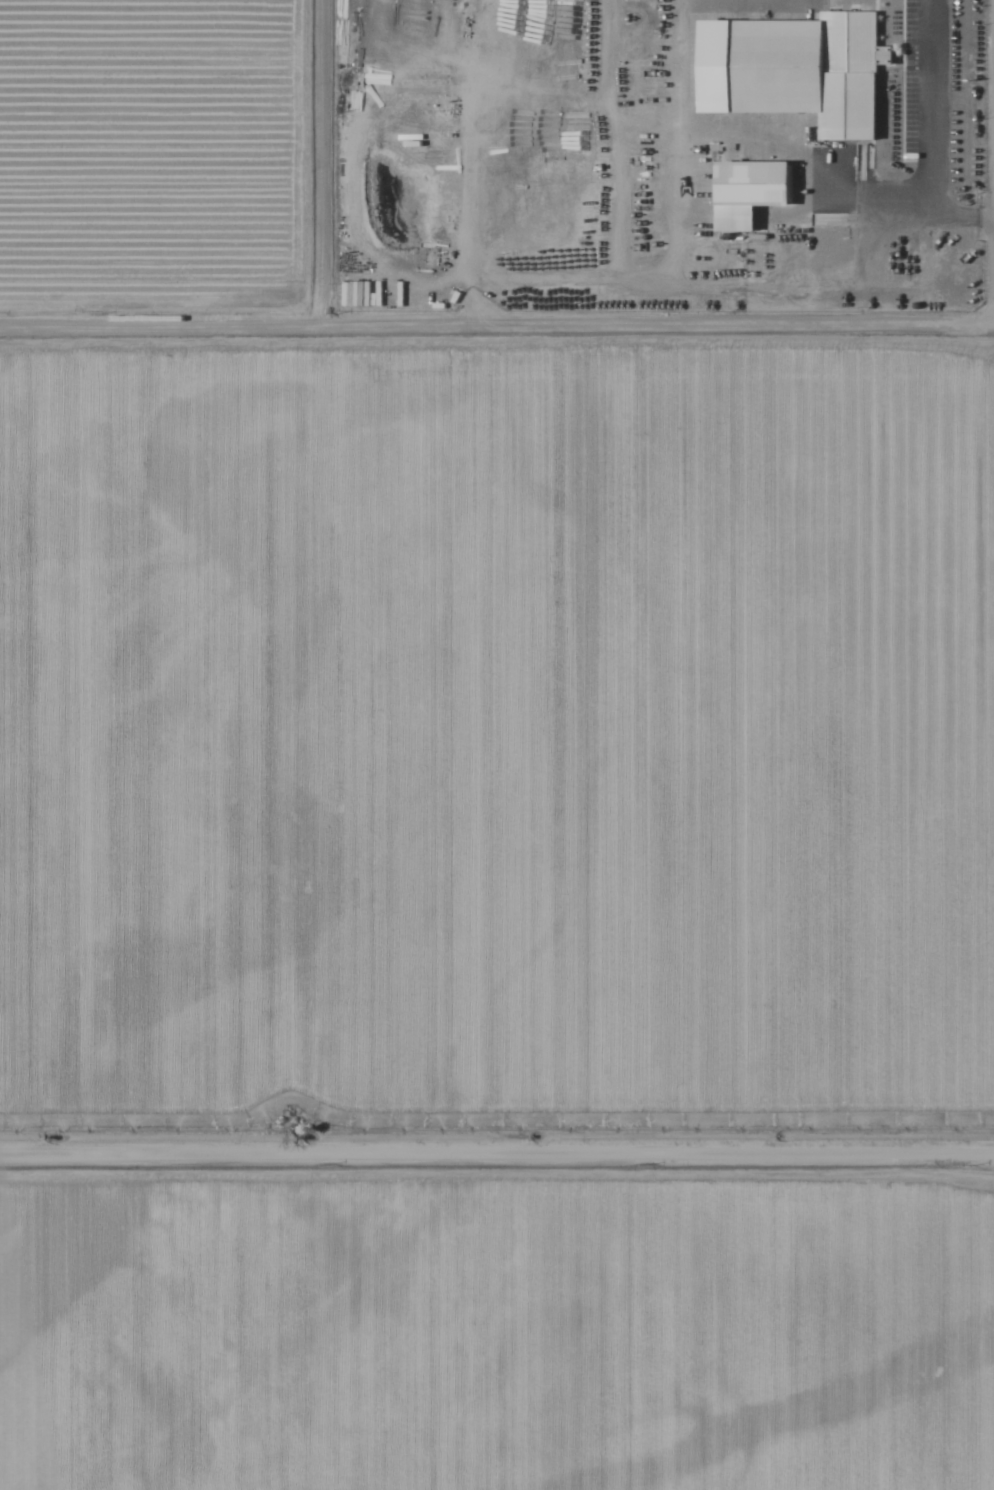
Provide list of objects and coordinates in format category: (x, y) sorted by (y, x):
building: (811, 72)
building: (750, 193)
road: (497, 322)
road: (497, 1155)

